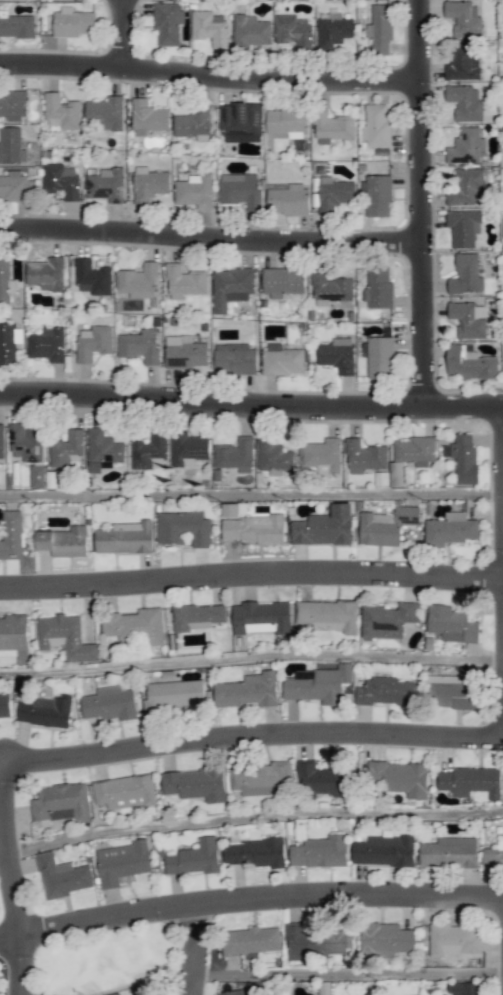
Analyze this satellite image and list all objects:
building: (464, 18)
building: (72, 22)
building: (167, 23)
building: (17, 25)
building: (209, 27)
building: (380, 29)
building: (333, 30)
building: (293, 31)
building: (250, 32)
road: (125, 34)
building: (462, 63)
road: (210, 73)
building: (465, 102)
building: (13, 105)
building: (61, 112)
building: (105, 113)
building: (148, 117)
building: (241, 122)
building: (287, 122)
building: (193, 125)
building: (376, 125)
building: (333, 127)
building: (11, 145)
building: (466, 146)
building: (61, 180)
building: (150, 183)
building: (106, 185)
building: (13, 187)
building: (467, 187)
building: (241, 190)
building: (194, 191)
building: (334, 193)
building: (377, 195)
building: (288, 199)
road: (422, 201)
building: (463, 227)
road: (211, 235)
building: (46, 273)
building: (466, 275)
building: (92, 277)
building: (6, 281)
building: (140, 281)
building: (282, 281)
building: (185, 282)
building: (231, 287)
building: (378, 287)
building: (331, 289)
building: (469, 319)
building: (9, 342)
building: (93, 342)
building: (48, 344)
building: (140, 345)
building: (185, 351)
building: (337, 355)
building: (380, 357)
building: (235, 358)
building: (282, 359)
building: (469, 363)
road: (251, 400)
building: (26, 442)
building: (189, 448)
building: (67, 450)
building: (103, 450)
building: (415, 450)
building: (149, 451)
building: (235, 454)
building: (323, 454)
building: (364, 456)
building: (274, 457)
building: (463, 457)
building: (397, 473)
building: (37, 476)
building: (381, 478)
road: (251, 494)
building: (230, 510)
building: (386, 525)
building: (325, 527)
building: (183, 528)
building: (253, 529)
building: (450, 529)
building: (11, 534)
building: (125, 537)
building: (64, 541)
road: (251, 574)
building: (328, 615)
building: (198, 616)
building: (262, 617)
building: (388, 620)
building: (452, 624)
building: (135, 626)
building: (13, 635)
building: (65, 637)
road: (251, 657)
building: (318, 684)
building: (452, 689)
building: (248, 690)
building: (386, 691)
building: (175, 695)
building: (108, 703)
building: (5, 707)
building: (45, 711)
road: (250, 736)
building: (401, 777)
building: (262, 779)
building: (319, 779)
building: (470, 781)
building: (196, 784)
building: (125, 791)
building: (61, 802)
building: (384, 850)
building: (320, 851)
building: (254, 852)
building: (449, 852)
building: (493, 856)
building: (195, 857)
building: (122, 862)
building: (61, 876)
road: (9, 879)
road: (250, 896)
building: (454, 939)
building: (251, 940)
building: (317, 942)
road: (191, 948)
road: (346, 972)
building: (466, 988)
building: (238, 991)

